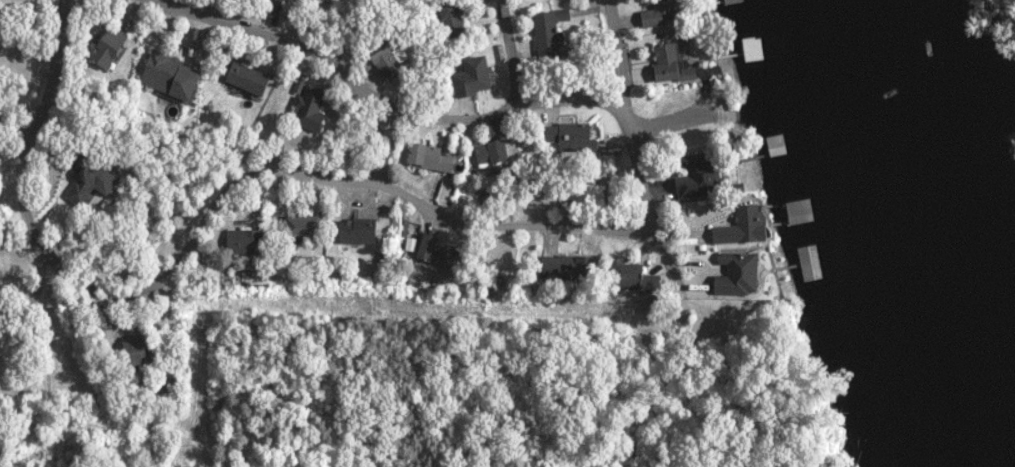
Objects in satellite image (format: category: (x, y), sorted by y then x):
building: (662, 14)
building: (553, 33)
road: (535, 38)
road: (631, 41)
building: (113, 47)
road: (345, 57)
building: (387, 62)
building: (674, 64)
building: (477, 77)
building: (177, 78)
building: (252, 78)
building: (312, 108)
road: (660, 128)
building: (575, 136)
building: (495, 151)
building: (431, 157)
building: (704, 180)
building: (96, 183)
road: (691, 195)
road: (232, 212)
building: (305, 224)
building: (748, 226)
building: (362, 231)
river: (918, 235)
building: (247, 240)
building: (434, 249)
building: (573, 264)
building: (633, 271)
building: (742, 274)
building: (1, 286)
building: (142, 350)

